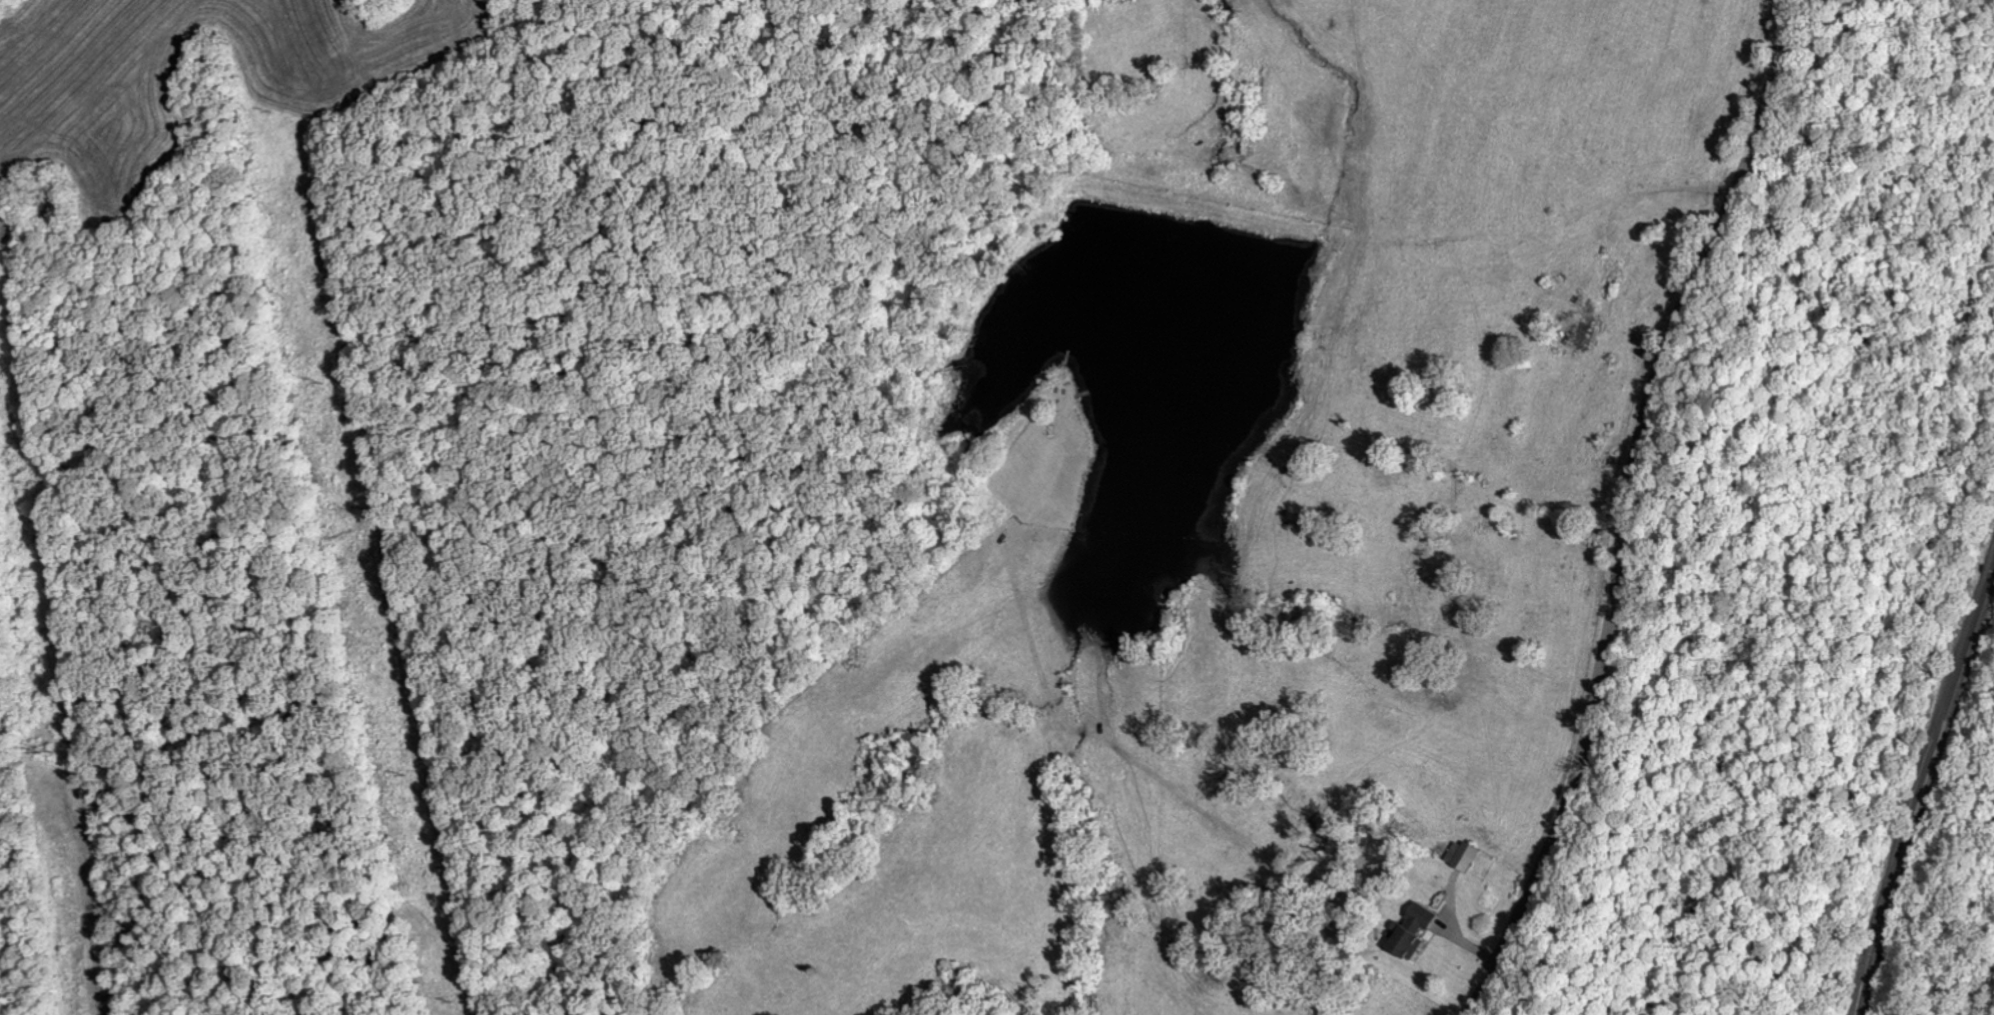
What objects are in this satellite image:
building: (1579, 329)
road: (1629, 507)
railway: (1889, 713)
power tower: (57, 749)
building: (1467, 855)
building: (1418, 931)

